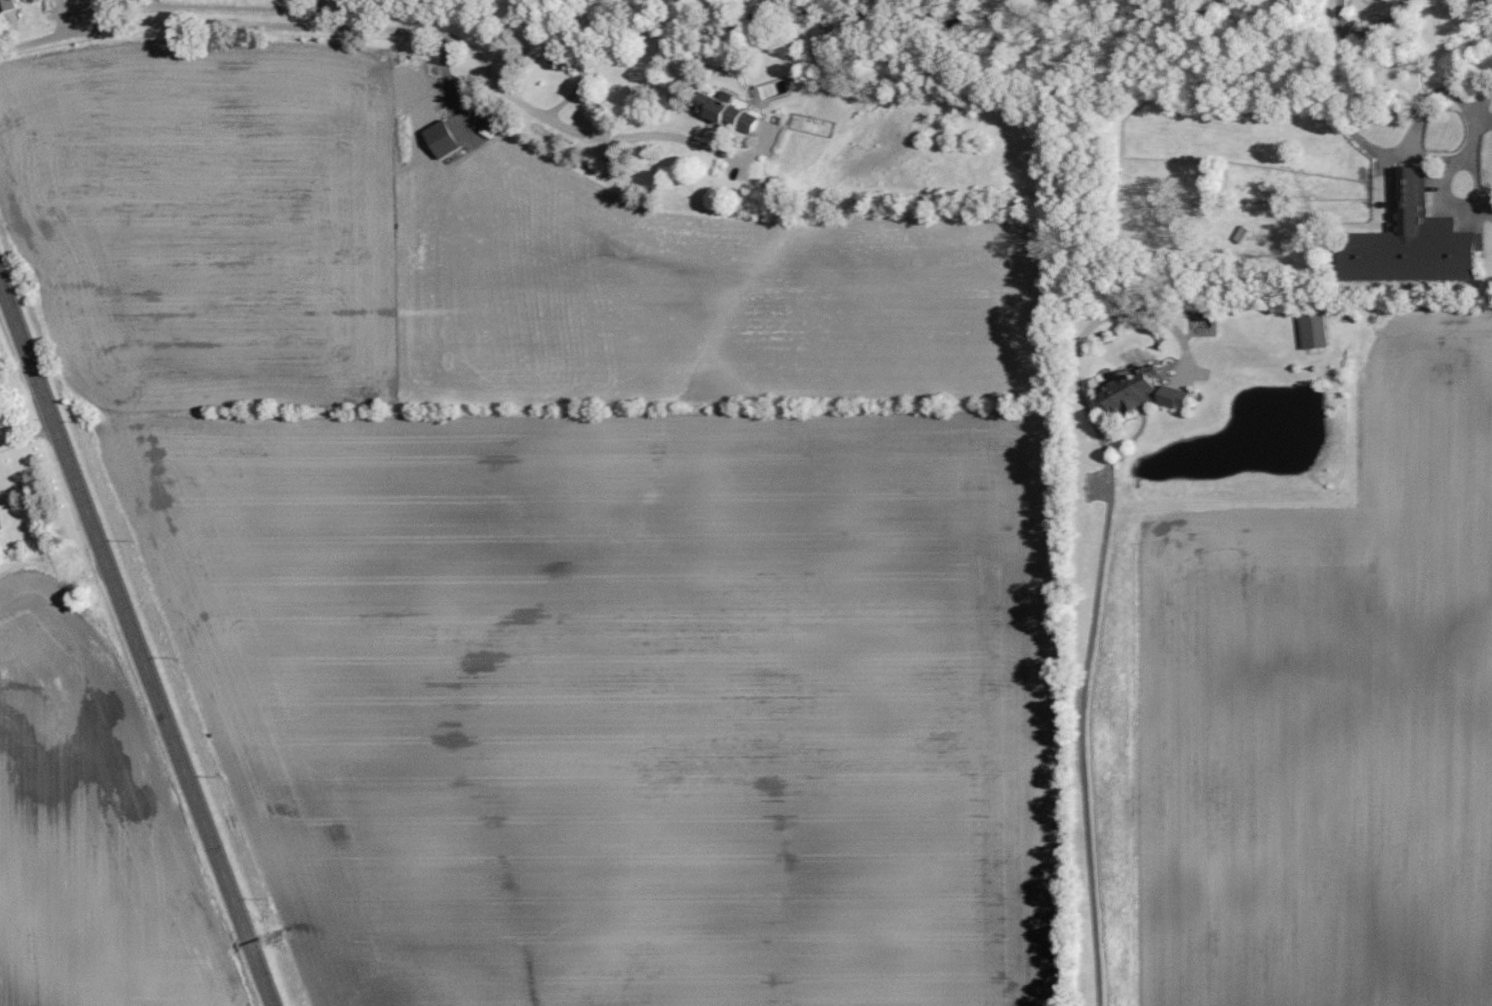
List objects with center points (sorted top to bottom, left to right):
road: (1340, 15)
road: (411, 24)
road: (1382, 28)
building: (565, 62)
building: (731, 113)
building: (446, 139)
road: (1432, 158)
building: (1417, 240)
building: (1317, 330)
building: (1147, 392)
building: (0, 422)
road: (1099, 591)
road: (137, 643)

